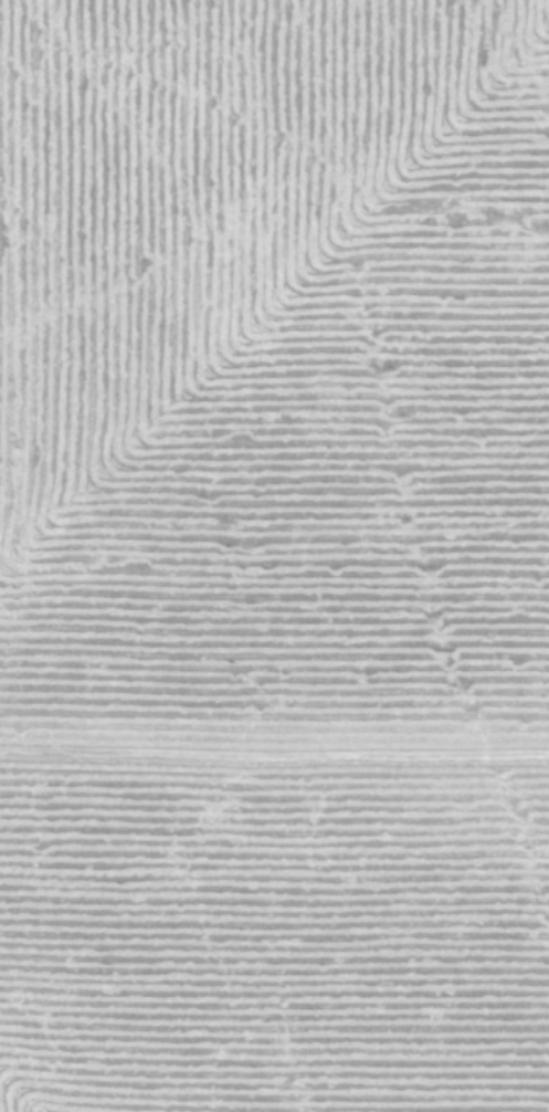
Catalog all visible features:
crop: (274, 556)

